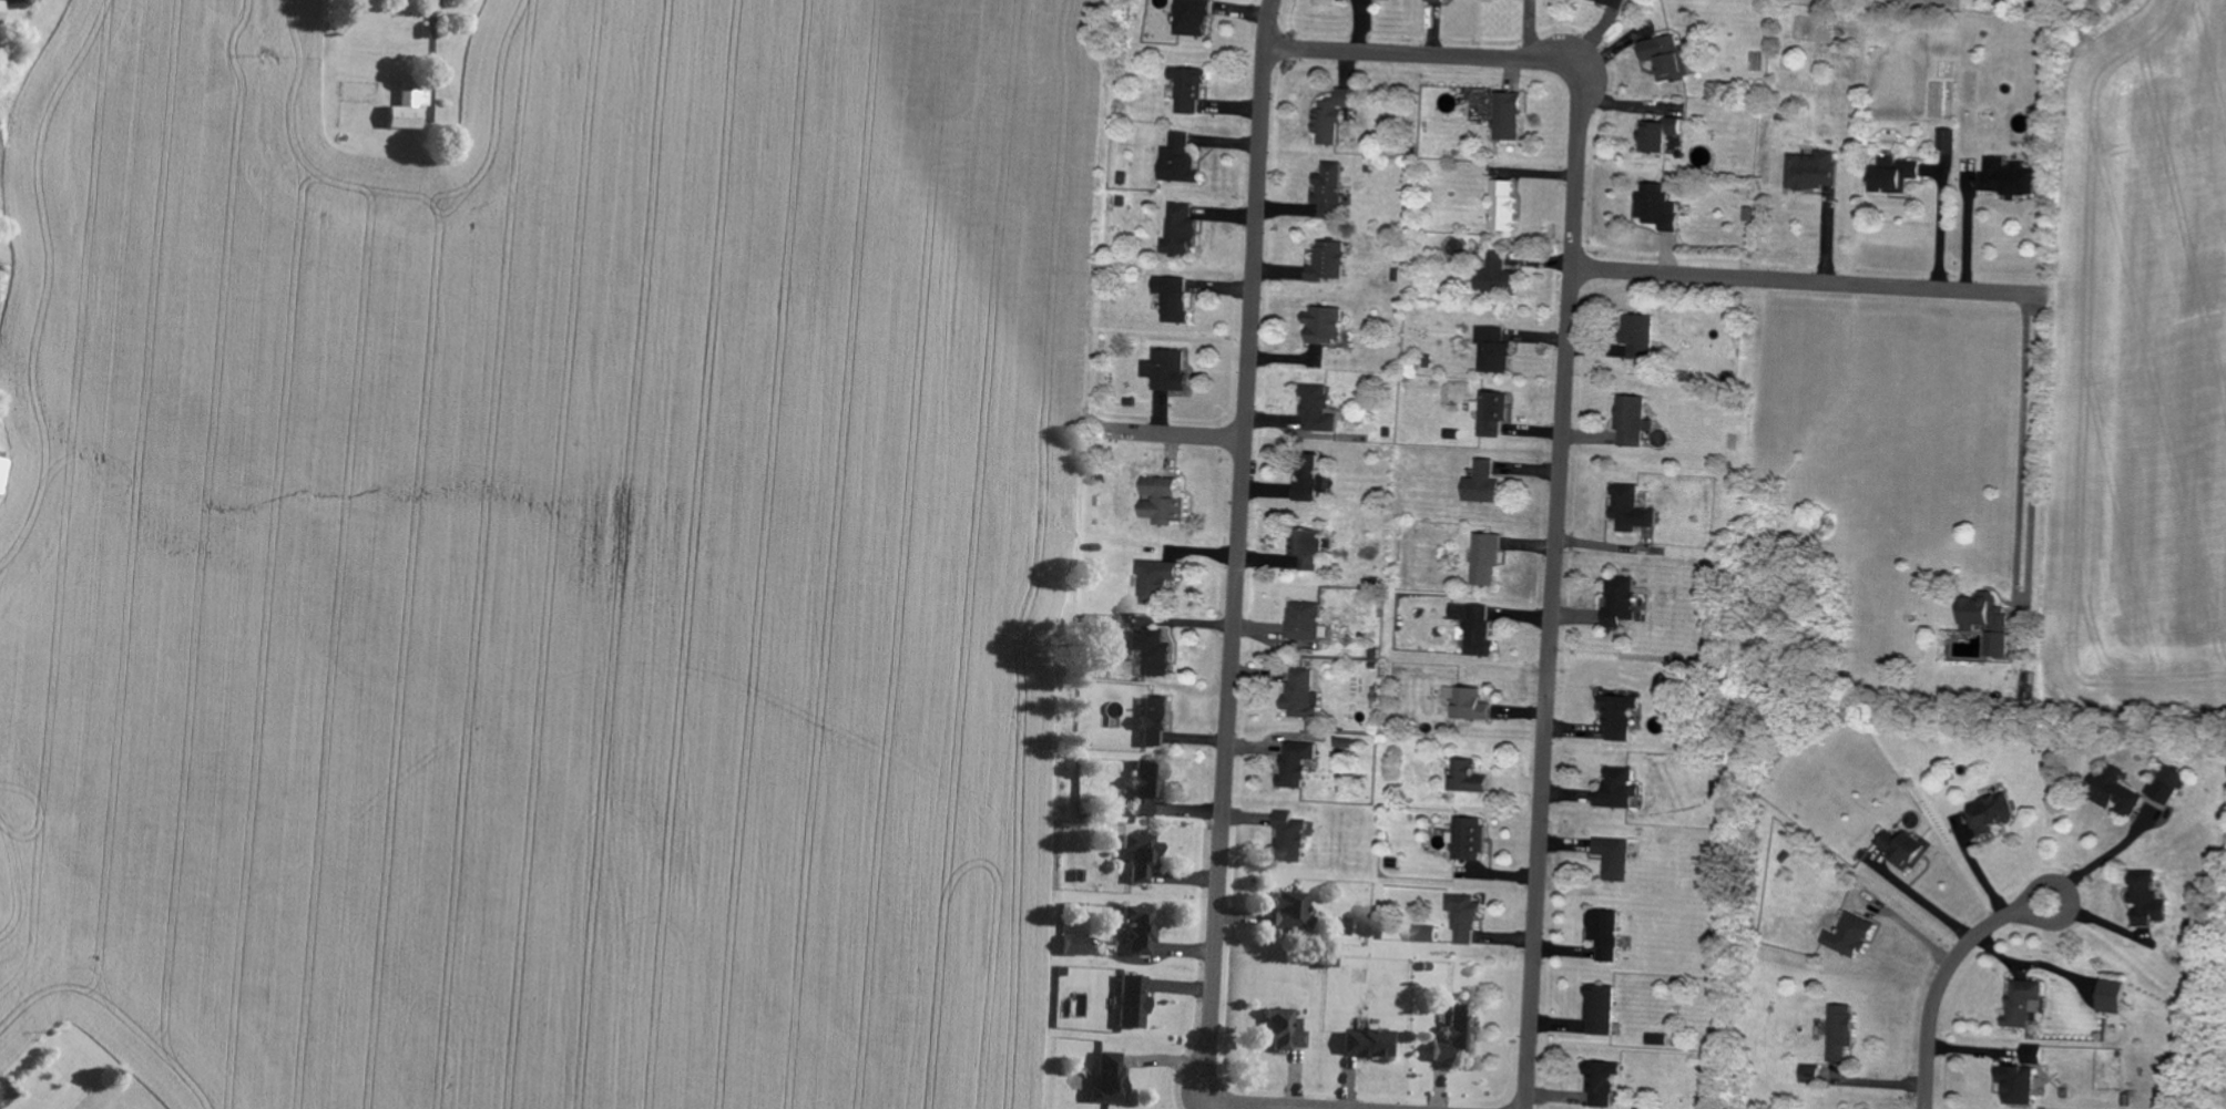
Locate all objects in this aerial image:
building: (1433, 0)
building: (1189, 17)
building: (1663, 57)
road: (430, 58)
building: (1186, 90)
building: (406, 104)
building: (1329, 115)
building: (1505, 116)
building: (1657, 134)
building: (1947, 140)
building: (1176, 160)
building: (1811, 171)
building: (1893, 175)
building: (2008, 177)
building: (1327, 189)
building: (1501, 205)
building: (1654, 206)
building: (1177, 230)
road: (1939, 234)
road: (1967, 236)
building: (1325, 261)
building: (1494, 275)
road: (1803, 284)
building: (1171, 298)
building: (1320, 325)
building: (1637, 336)
building: (1491, 350)
building: (1164, 370)
building: (1314, 409)
building: (1490, 413)
building: (1630, 420)
road: (1562, 433)
road: (1176, 435)
road: (2025, 458)
building: (1, 468)
building: (1308, 481)
building: (1481, 484)
building: (1160, 501)
building: (1630, 507)
road: (1236, 546)
building: (1305, 546)
building: (1484, 556)
building: (1153, 578)
building: (1620, 600)
building: (1301, 619)
building: (1988, 619)
building: (1150, 649)
building: (1299, 694)
building: (1467, 701)
building: (1619, 716)
building: (1152, 720)
building: (1294, 762)
building: (1466, 776)
building: (2166, 783)
building: (1144, 784)
building: (1616, 788)
building: (2112, 790)
building: (1991, 812)
building: (1288, 836)
building: (1467, 838)
building: (1903, 849)
road: (2108, 852)
building: (1137, 855)
building: (1612, 856)
building: (2145, 897)
building: (1288, 907)
building: (1461, 917)
road: (2063, 925)
building: (1137, 928)
building: (1603, 932)
building: (1421, 933)
building: (1848, 935)
building: (1071, 944)
road: (1938, 995)
building: (2111, 995)
building: (1130, 1000)
building: (2020, 1002)
building: (1597, 1008)
building: (1280, 1028)
building: (1839, 1030)
building: (1453, 1033)
building: (1654, 1038)
building: (1366, 1041)
building: (2031, 1054)
building: (1809, 1072)
building: (1105, 1077)
building: (1600, 1082)
building: (2015, 1084)
road: (1256, 1108)

